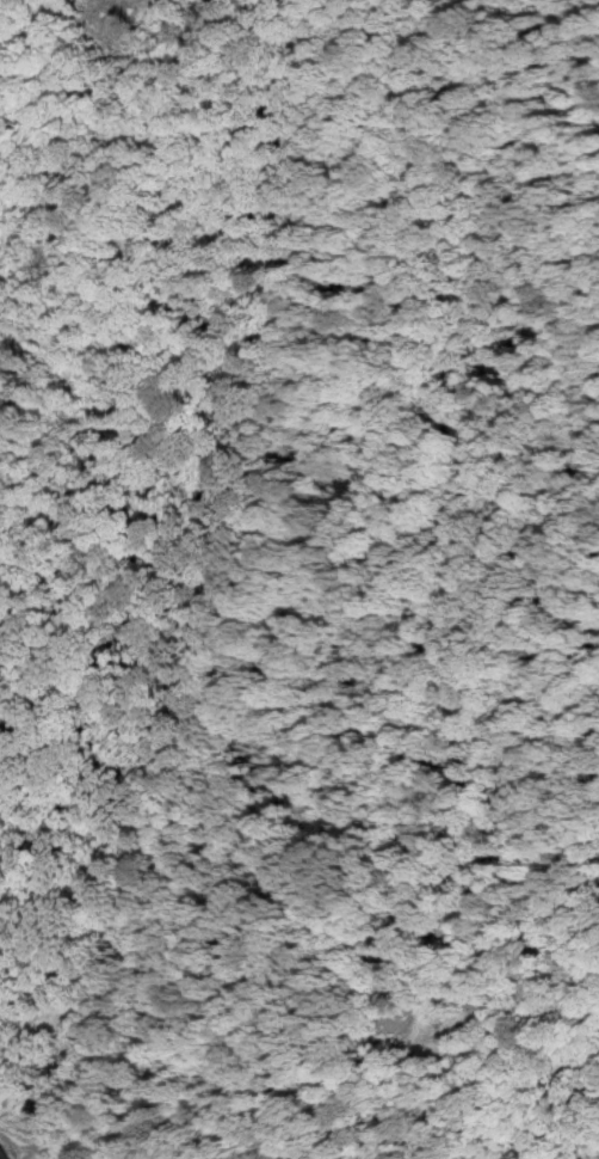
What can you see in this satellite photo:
building: (4, 1151)

